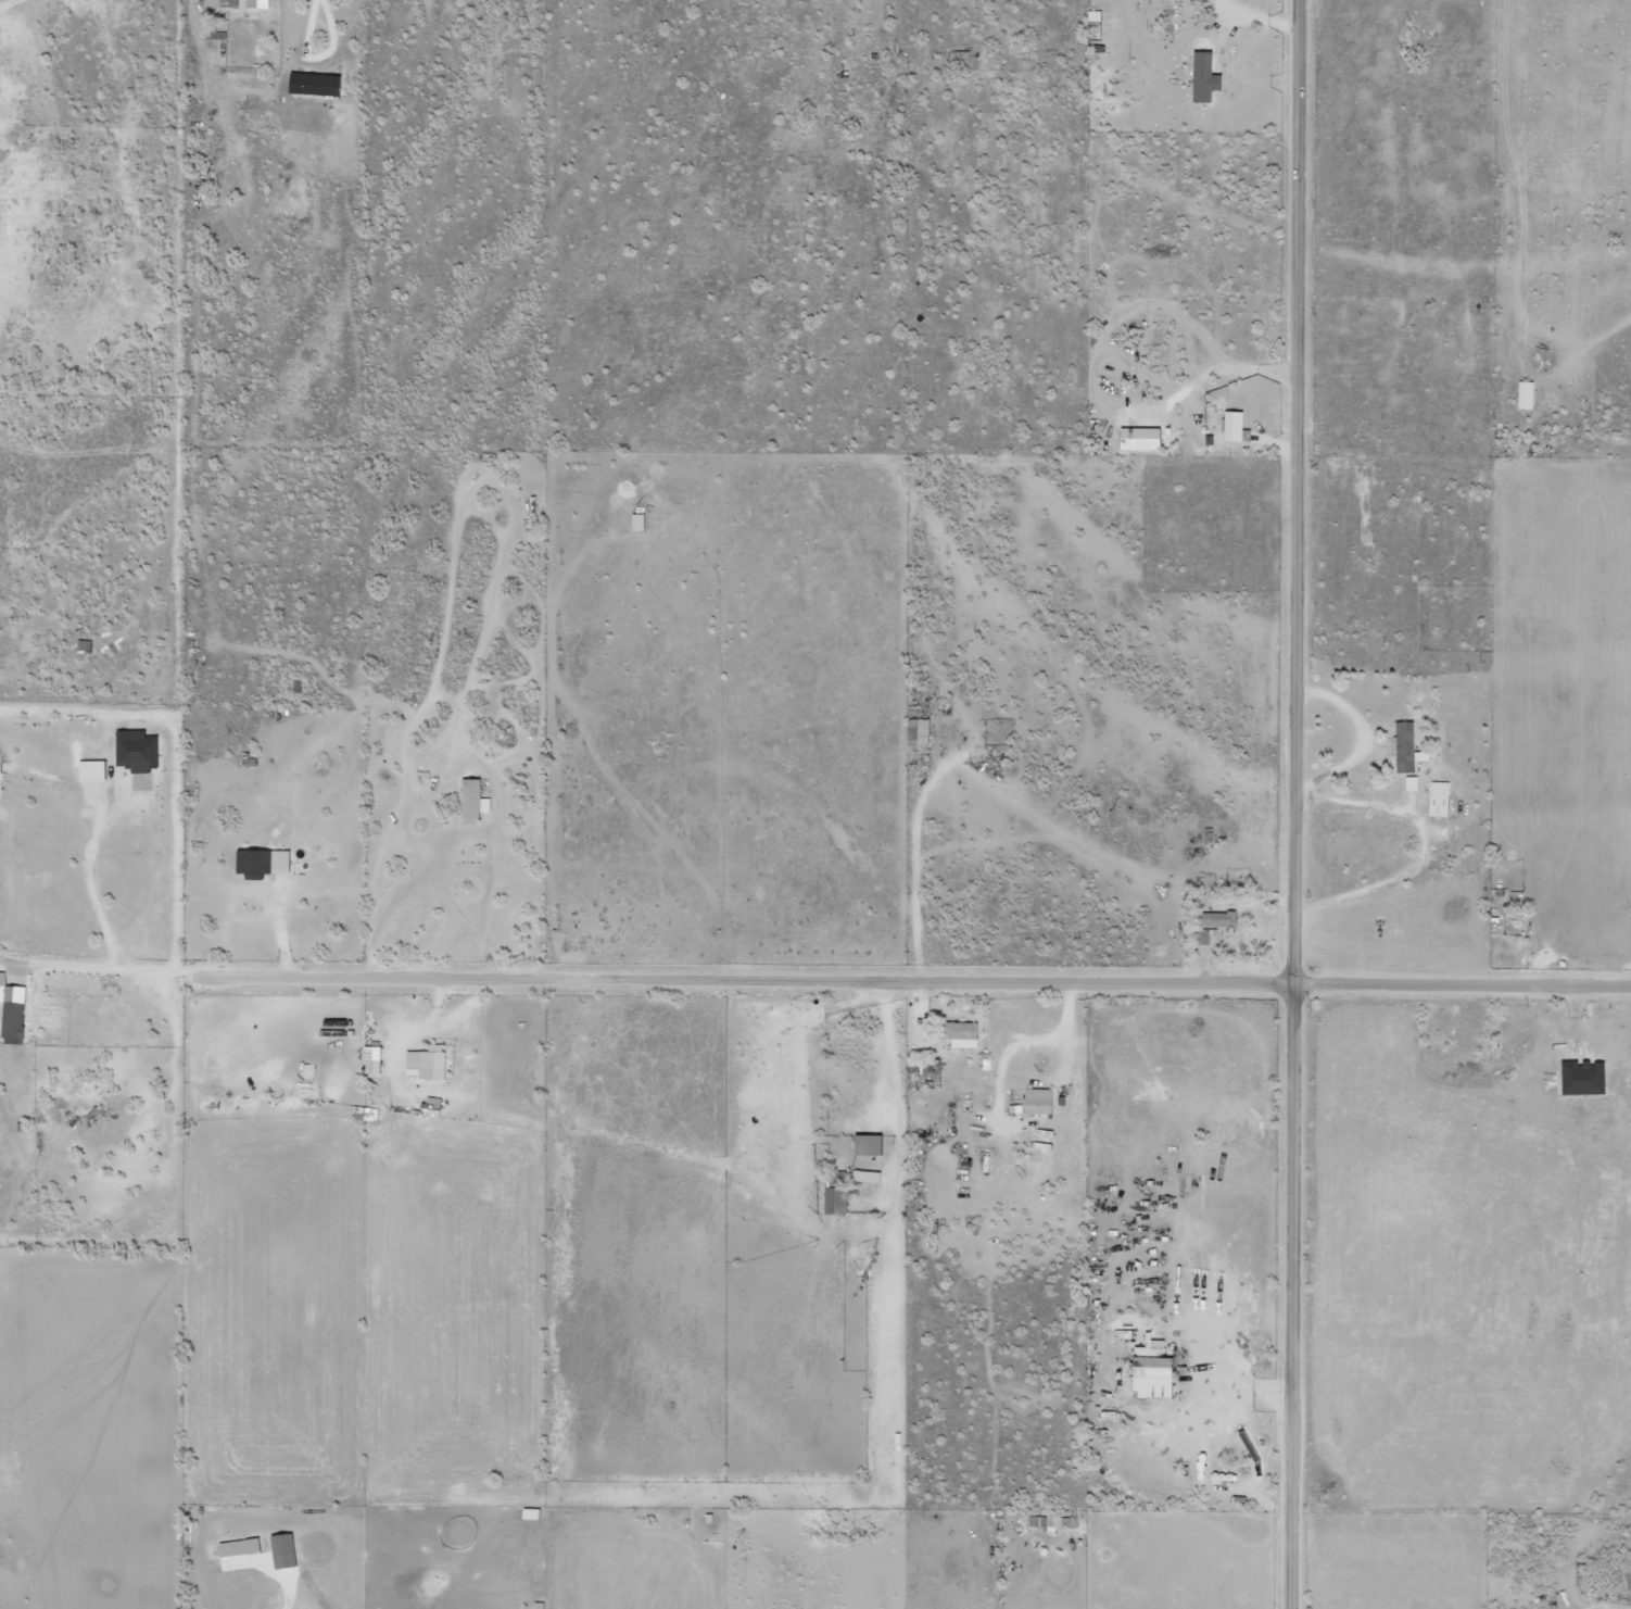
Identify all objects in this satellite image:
building: (218, 3)
building: (255, 3)
building: (1167, 15)
building: (1092, 18)
building: (1202, 78)
building: (312, 84)
building: (1523, 395)
building: (1231, 426)
building: (1138, 439)
building: (83, 646)
building: (916, 732)
building: (136, 750)
building: (90, 771)
building: (1411, 783)
building: (469, 799)
building: (1438, 799)
road: (1286, 804)
building: (260, 864)
building: (1219, 919)
building: (1208, 937)
road: (764, 983)
road: (1459, 989)
building: (11, 1014)
building: (959, 1034)
building: (370, 1060)
building: (423, 1065)
building: (1036, 1103)
building: (865, 1145)
building: (864, 1177)
building: (833, 1202)
building: (1150, 1378)
building: (529, 1514)
building: (1053, 1522)
building: (237, 1548)
building: (538, 1605)

